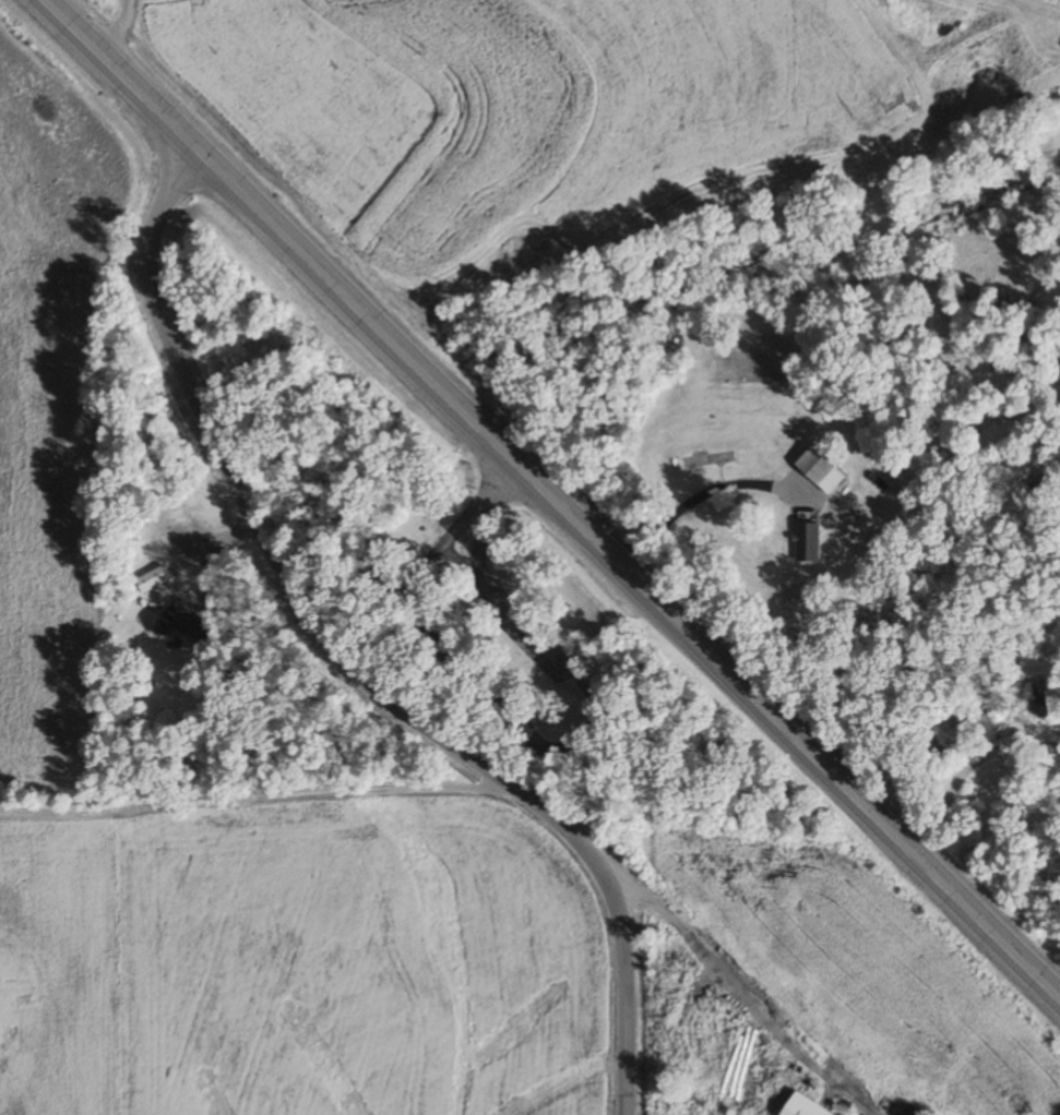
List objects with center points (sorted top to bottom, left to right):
road: (119, 27)
building: (820, 471)
road: (483, 499)
road: (550, 501)
road: (707, 502)
building: (808, 539)
building: (152, 579)
building: (182, 626)
road: (347, 663)
building: (1039, 699)
building: (963, 717)
road: (587, 735)
road: (740, 998)
building: (801, 1107)

